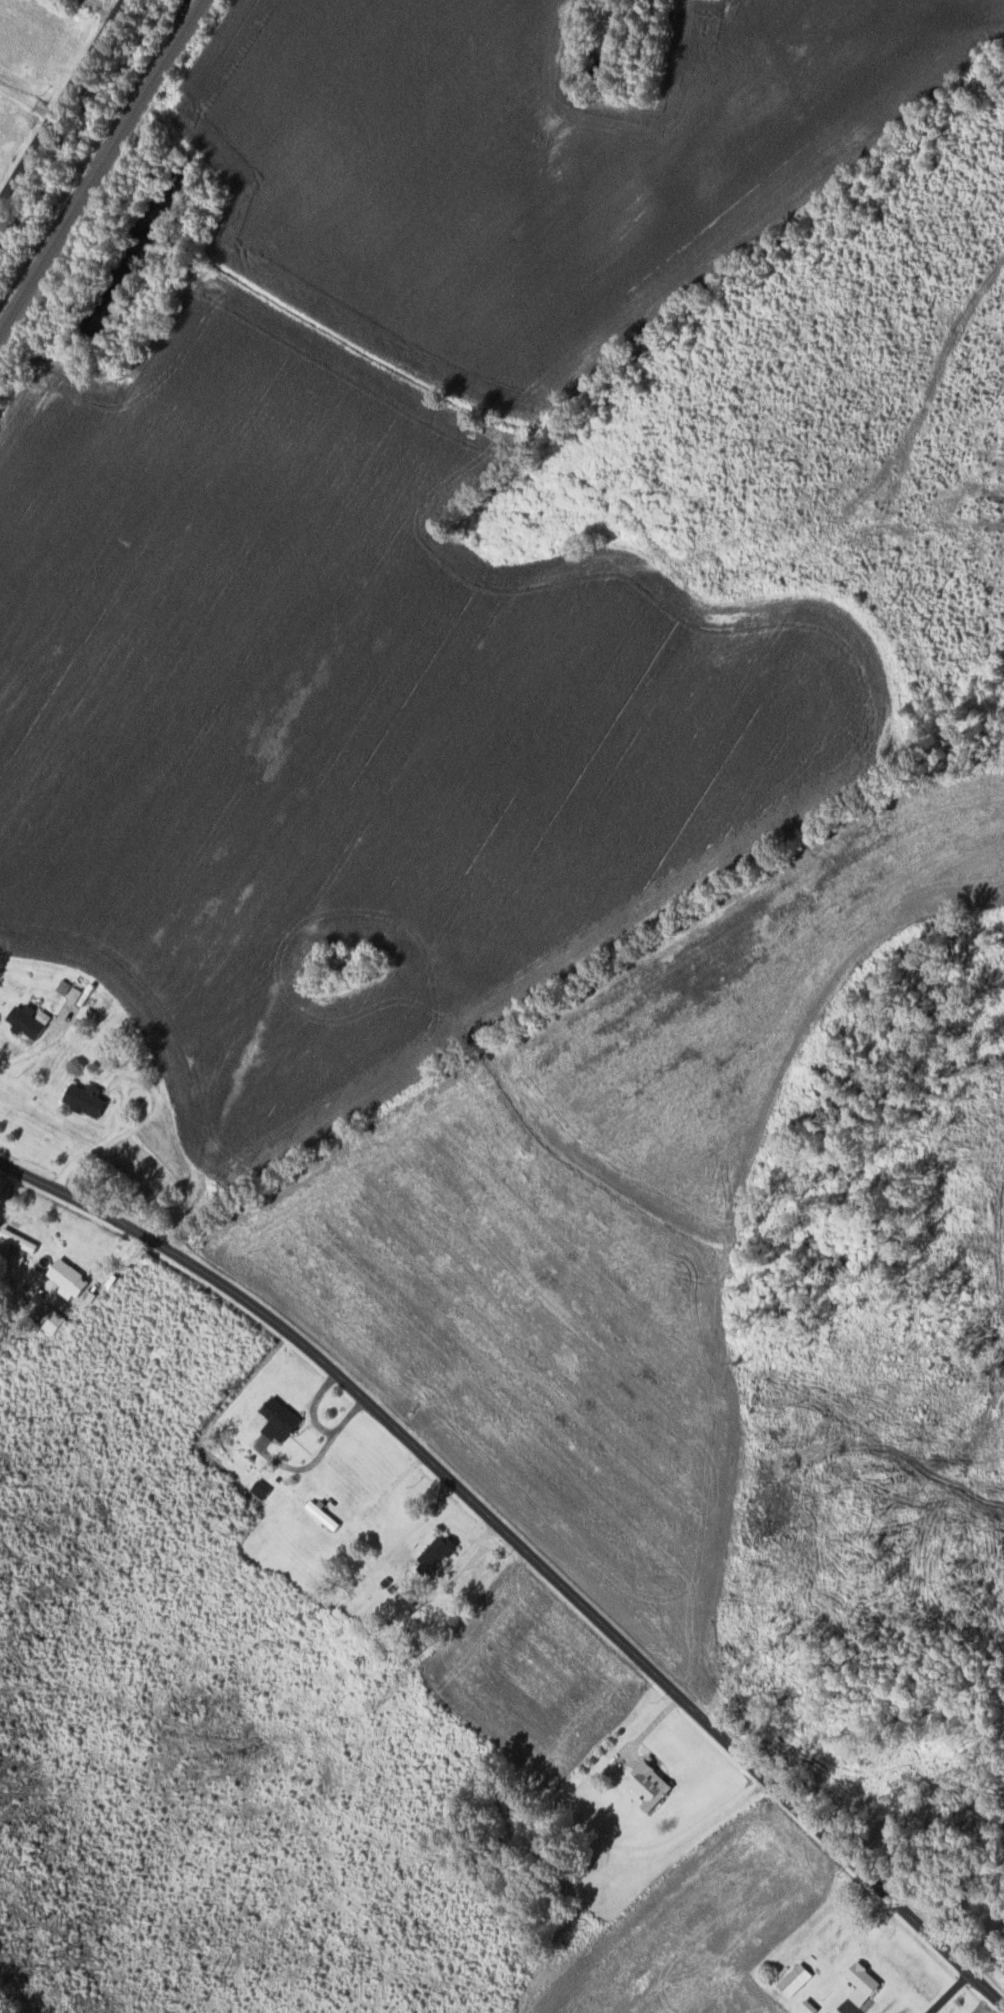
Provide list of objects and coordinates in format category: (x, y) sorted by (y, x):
road: (95, 10)
road: (27, 101)
road: (63, 102)
railway: (101, 165)
building: (25, 1019)
road: (37, 1045)
building: (81, 1097)
building: (64, 1277)
building: (275, 1418)
road: (524, 1549)
building: (431, 1553)
building: (645, 1784)
building: (791, 1979)
building: (858, 1982)

